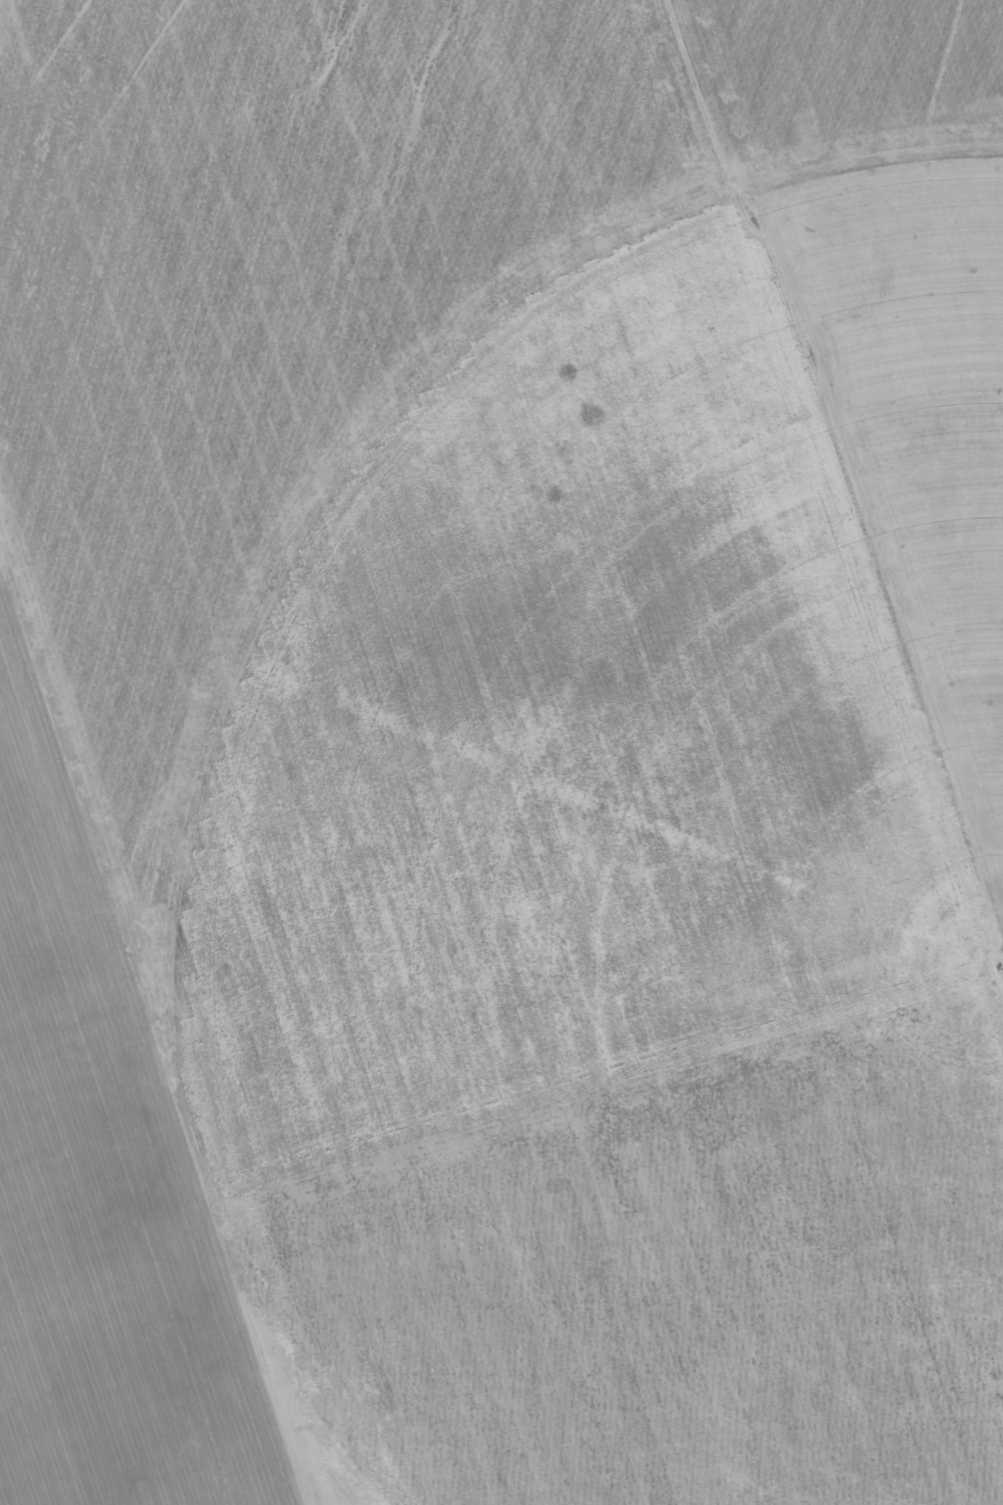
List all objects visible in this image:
road: (867, 377)

